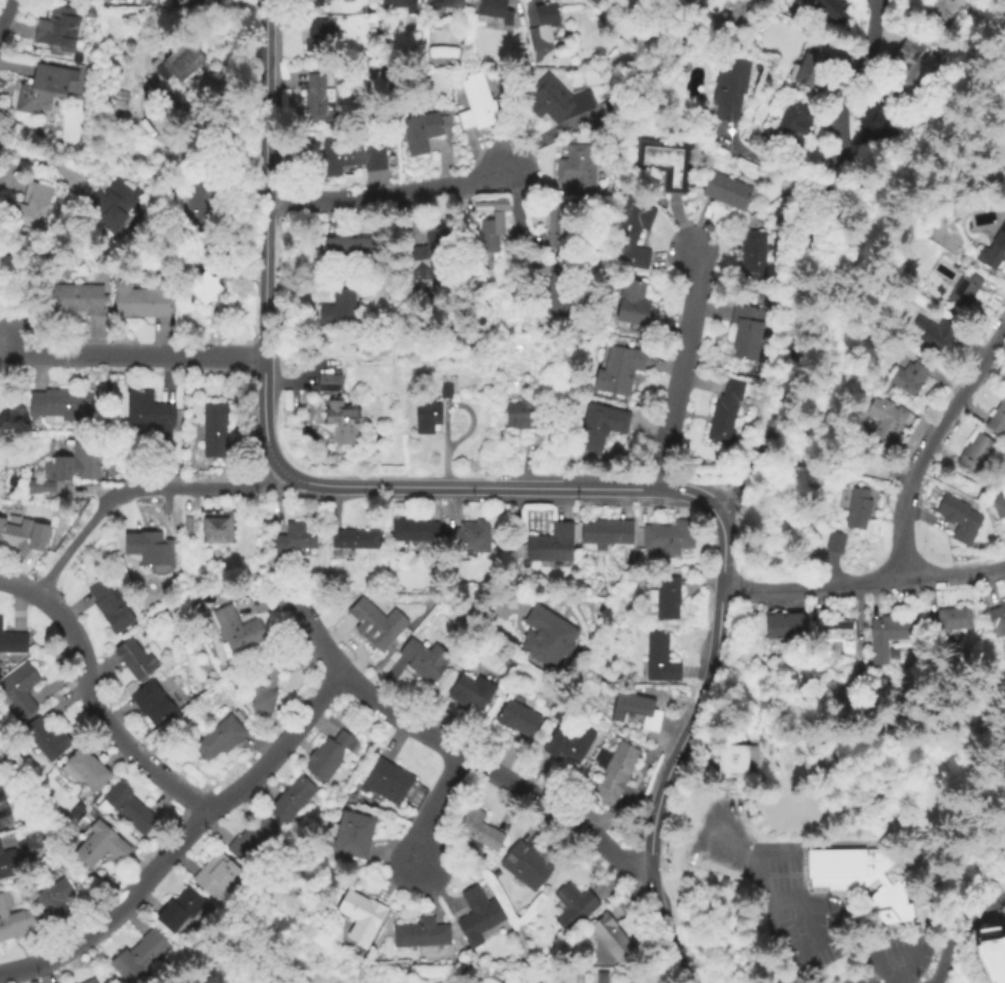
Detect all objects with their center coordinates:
building: (346, 1)
building: (706, 1)
building: (593, 2)
building: (312, 3)
building: (446, 4)
building: (400, 5)
building: (89, 9)
road: (4, 10)
building: (495, 11)
building: (940, 12)
building: (828, 13)
building: (546, 16)
building: (57, 25)
building: (379, 29)
building: (316, 38)
building: (180, 63)
building: (908, 67)
building: (815, 68)
building: (44, 89)
building: (729, 89)
building: (314, 100)
building: (119, 101)
building: (555, 101)
building: (476, 104)
building: (874, 122)
building: (793, 124)
building: (420, 133)
building: (352, 155)
building: (663, 164)
road: (43, 165)
road: (774, 167)
building: (577, 170)
road: (263, 178)
road: (8, 185)
building: (723, 191)
road: (388, 198)
building: (201, 199)
building: (115, 205)
building: (499, 205)
building: (28, 209)
road: (518, 223)
building: (561, 229)
building: (630, 234)
building: (490, 237)
road: (529, 239)
building: (993, 250)
building: (345, 252)
building: (428, 256)
building: (752, 256)
road: (806, 259)
park: (24, 288)
building: (202, 290)
building: (963, 292)
building: (557, 298)
building: (78, 300)
building: (140, 301)
building: (631, 304)
building: (339, 311)
building: (745, 333)
building: (933, 334)
road: (7, 342)
road: (137, 355)
road: (680, 368)
building: (618, 370)
building: (908, 377)
building: (328, 383)
building: (444, 390)
building: (61, 405)
building: (724, 412)
park: (4, 415)
building: (525, 415)
building: (149, 418)
building: (426, 418)
building: (997, 418)
building: (884, 421)
building: (341, 424)
building: (599, 428)
building: (214, 432)
road: (926, 445)
building: (974, 454)
building: (69, 469)
road: (439, 486)
road: (140, 492)
building: (998, 501)
building: (857, 510)
road: (923, 517)
building: (959, 519)
building: (187, 522)
building: (216, 529)
building: (412, 531)
building: (606, 534)
building: (15, 537)
building: (471, 537)
building: (669, 538)
building: (293, 540)
building: (352, 541)
building: (834, 544)
building: (550, 546)
road: (512, 547)
building: (153, 552)
building: (174, 581)
road: (862, 581)
road: (19, 587)
building: (664, 597)
building: (109, 608)
building: (998, 619)
building: (949, 620)
building: (376, 624)
building: (783, 625)
building: (837, 629)
building: (238, 630)
building: (144, 632)
building: (885, 633)
building: (546, 637)
building: (13, 643)
building: (659, 657)
building: (134, 659)
building: (425, 661)
building: (264, 682)
building: (468, 691)
building: (19, 692)
building: (151, 703)
building: (635, 710)
building: (238, 714)
building: (517, 718)
road: (103, 719)
building: (219, 737)
building: (46, 738)
building: (568, 744)
road: (453, 748)
road: (677, 748)
road: (693, 753)
building: (328, 757)
building: (734, 762)
building: (87, 768)
building: (612, 774)
building: (386, 781)
road: (164, 798)
building: (291, 799)
building: (2, 803)
road: (433, 806)
building: (126, 808)
building: (76, 810)
building: (1, 825)
building: (478, 830)
building: (351, 836)
building: (252, 841)
road: (184, 844)
building: (100, 846)
building: (9, 863)
building: (526, 866)
building: (847, 871)
building: (217, 877)
road: (766, 891)
building: (57, 899)
building: (893, 904)
building: (571, 907)
building: (178, 910)
building: (477, 916)
building: (360, 918)
building: (14, 920)
road: (799, 923)
building: (420, 935)
building: (610, 939)
building: (991, 953)
building: (138, 955)
road: (943, 956)
road: (900, 966)
road: (859, 971)
building: (600, 977)
building: (89, 981)

